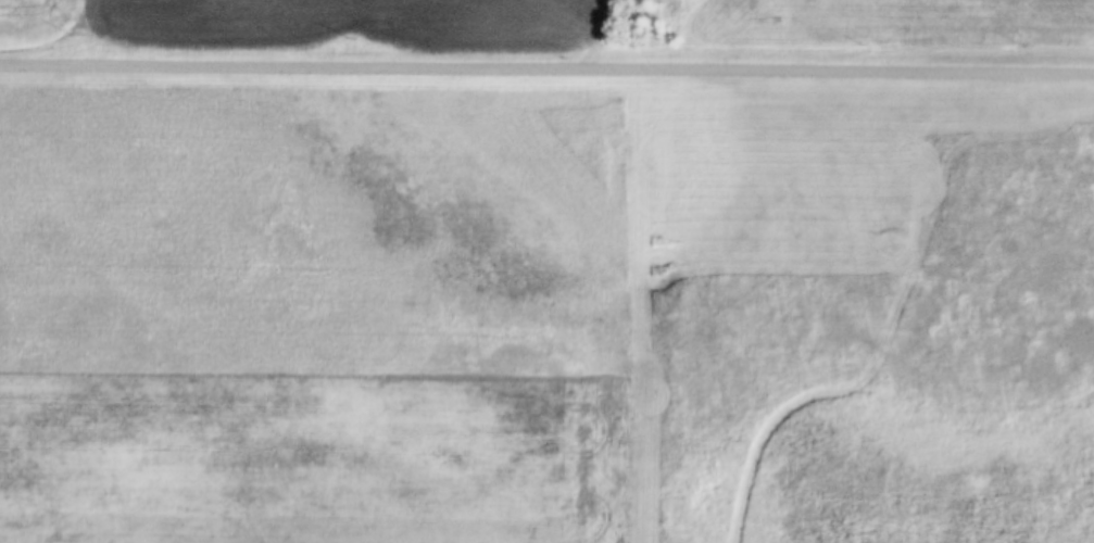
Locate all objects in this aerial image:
road: (546, 73)

